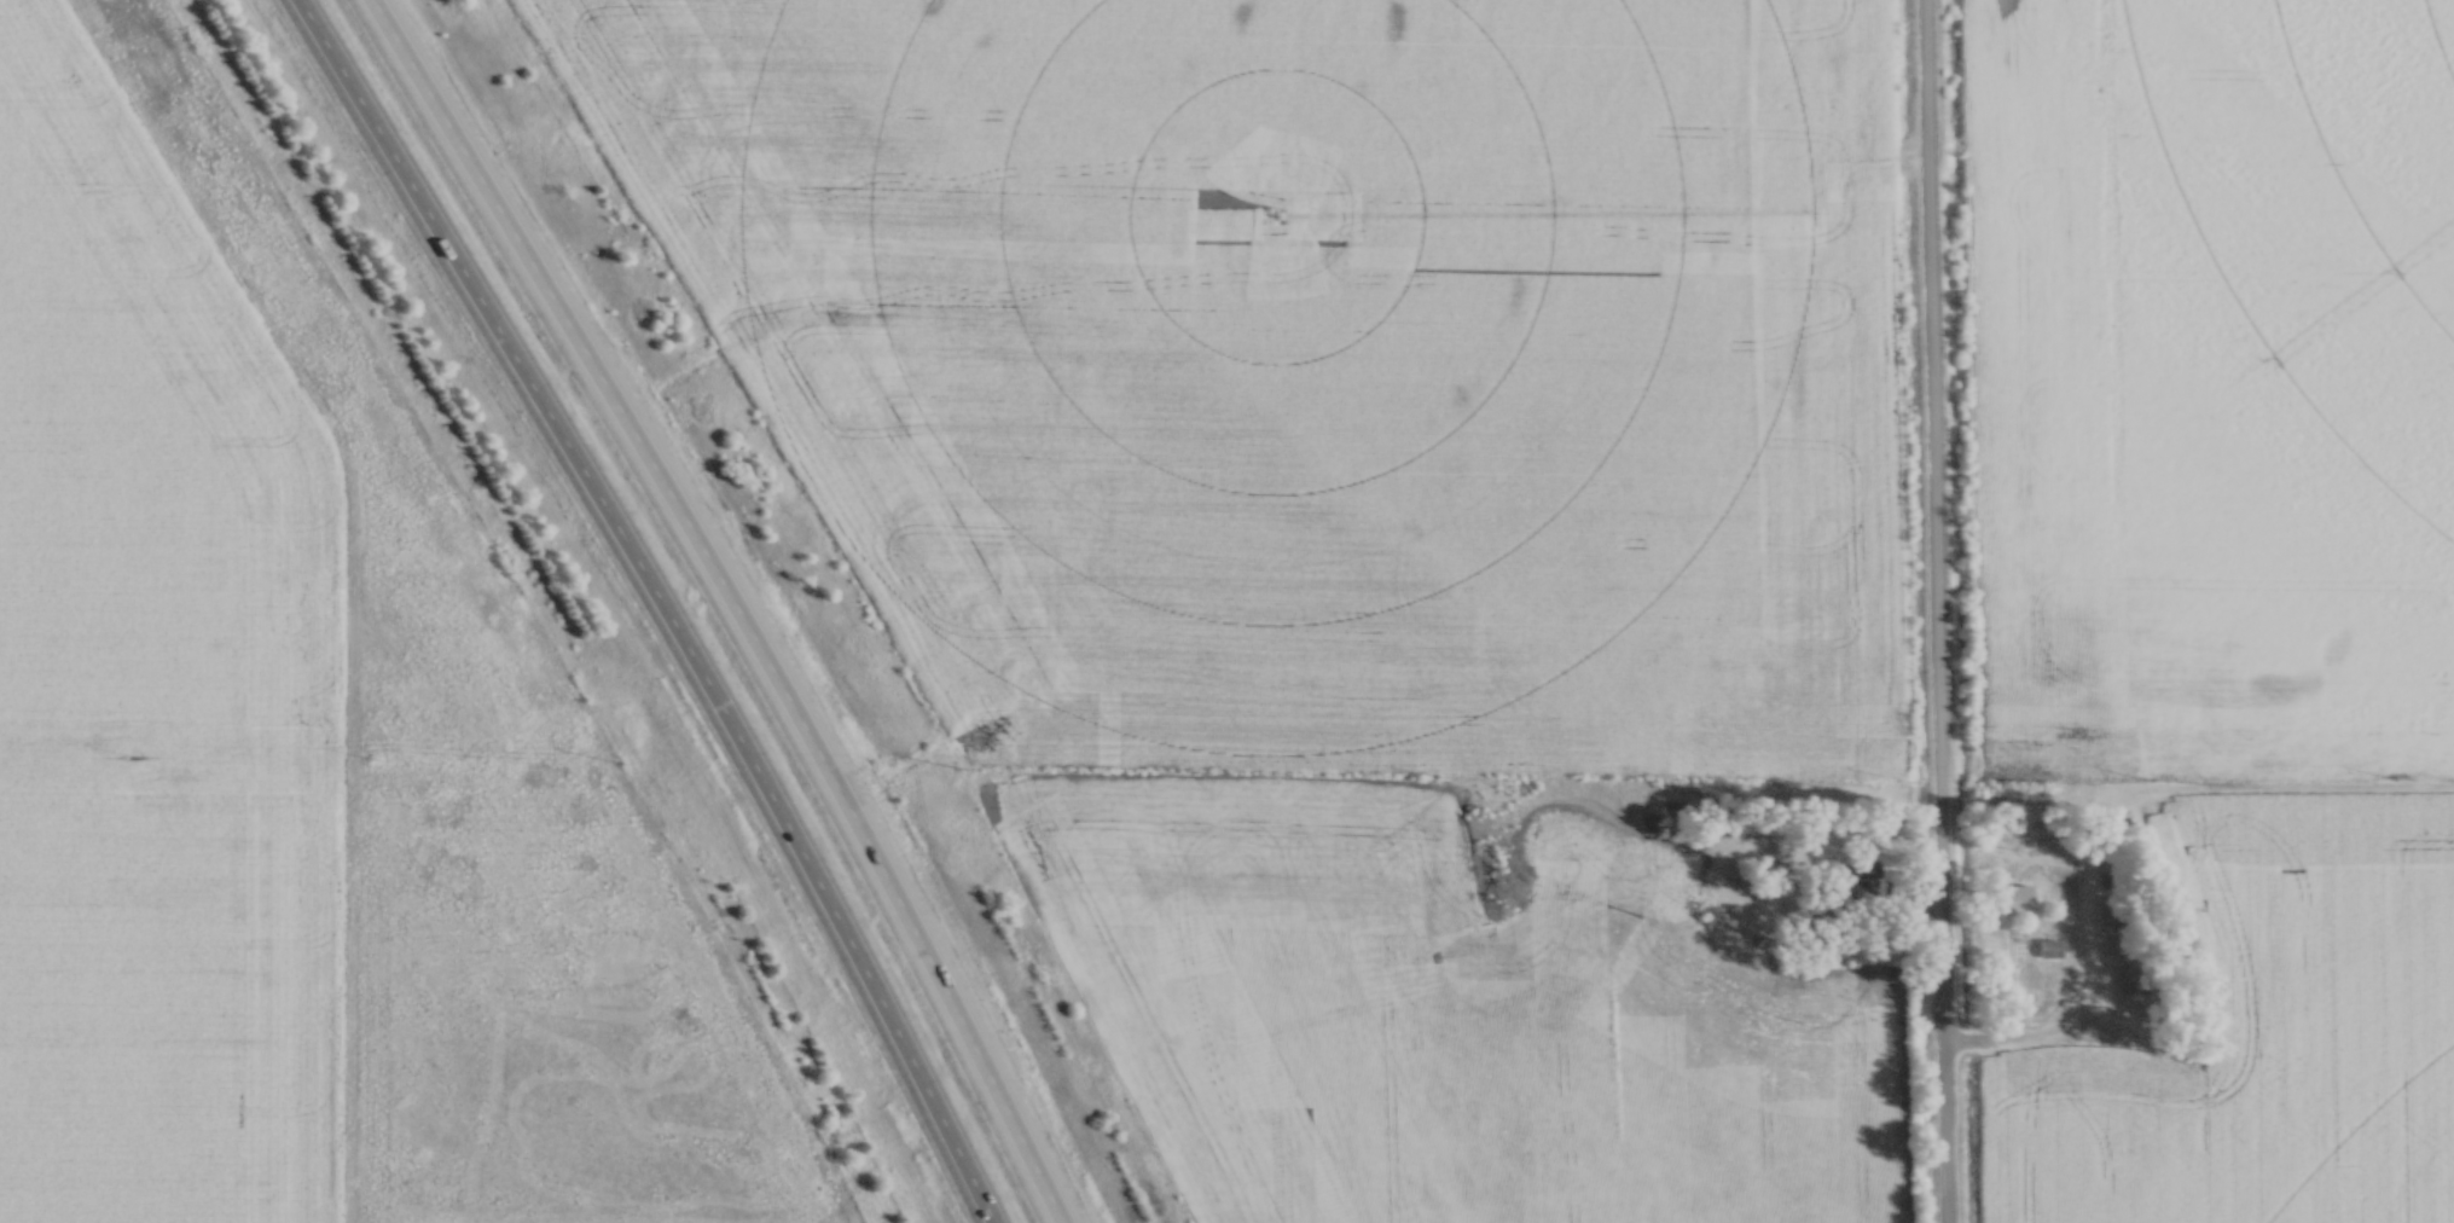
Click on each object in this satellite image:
road: (732, 602)
road: (656, 603)
road: (1936, 610)
building: (1663, 821)
building: (1861, 876)
building: (2017, 897)
building: (2047, 946)

